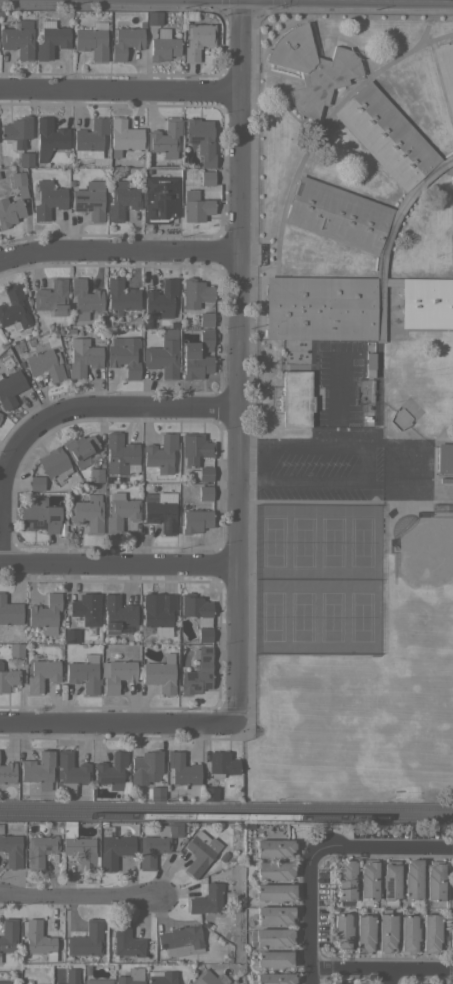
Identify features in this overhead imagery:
building: (153, 18)
building: (18, 38)
building: (51, 39)
building: (197, 39)
building: (126, 40)
building: (91, 42)
building: (163, 45)
building: (312, 68)
building: (445, 73)
road: (118, 92)
building: (17, 130)
building: (123, 136)
building: (49, 137)
building: (165, 138)
building: (90, 139)
building: (201, 139)
building: (26, 158)
building: (207, 178)
building: (19, 183)
building: (48, 199)
building: (90, 199)
building: (160, 199)
building: (122, 200)
building: (196, 206)
building: (9, 212)
building: (452, 225)
building: (360, 238)
road: (117, 255)
building: (195, 293)
building: (85, 296)
building: (122, 296)
building: (51, 297)
building: (162, 298)
building: (14, 307)
building: (206, 319)
building: (205, 339)
building: (163, 354)
building: (124, 355)
building: (82, 357)
road: (236, 360)
building: (194, 362)
building: (45, 364)
building: (369, 364)
building: (10, 388)
building: (295, 398)
road: (101, 410)
building: (0, 413)
building: (0, 414)
building: (400, 416)
building: (0, 418)
building: (194, 448)
building: (79, 449)
building: (161, 453)
building: (120, 455)
building: (445, 457)
building: (54, 463)
road: (404, 466)
building: (205, 473)
building: (95, 475)
building: (36, 483)
road: (425, 485)
building: (205, 493)
building: (87, 512)
building: (120, 512)
building: (162, 512)
building: (41, 517)
building: (195, 520)
road: (118, 566)
building: (86, 608)
building: (196, 608)
building: (158, 612)
building: (9, 613)
building: (45, 613)
building: (117, 613)
building: (204, 634)
building: (71, 635)
building: (16, 650)
building: (198, 673)
building: (84, 674)
building: (116, 674)
building: (160, 674)
building: (41, 675)
building: (8, 679)
road: (118, 722)
building: (221, 764)
building: (37, 767)
building: (145, 767)
building: (111, 770)
building: (181, 770)
building: (7, 772)
building: (69, 772)
building: (157, 793)
building: (209, 793)
railway: (226, 805)
railway: (226, 815)
building: (1, 828)
building: (157, 844)
building: (79, 847)
building: (113, 847)
building: (274, 847)
road: (312, 847)
building: (11, 850)
building: (40, 850)
building: (200, 852)
building: (275, 870)
building: (367, 879)
building: (412, 879)
building: (390, 880)
building: (434, 880)
building: (345, 881)
building: (274, 892)
road: (78, 895)
building: (208, 898)
building: (275, 914)
building: (386, 932)
building: (341, 933)
building: (430, 933)
building: (363, 934)
building: (408, 934)
building: (8, 935)
building: (270, 937)
building: (39, 940)
building: (86, 940)
building: (126, 940)
building: (180, 940)
building: (275, 959)
road: (379, 971)
building: (71, 976)
building: (161, 977)
building: (208, 978)
building: (275, 978)
road: (390, 978)
building: (127, 980)
building: (97, 981)
building: (5, 982)
building: (26, 983)

